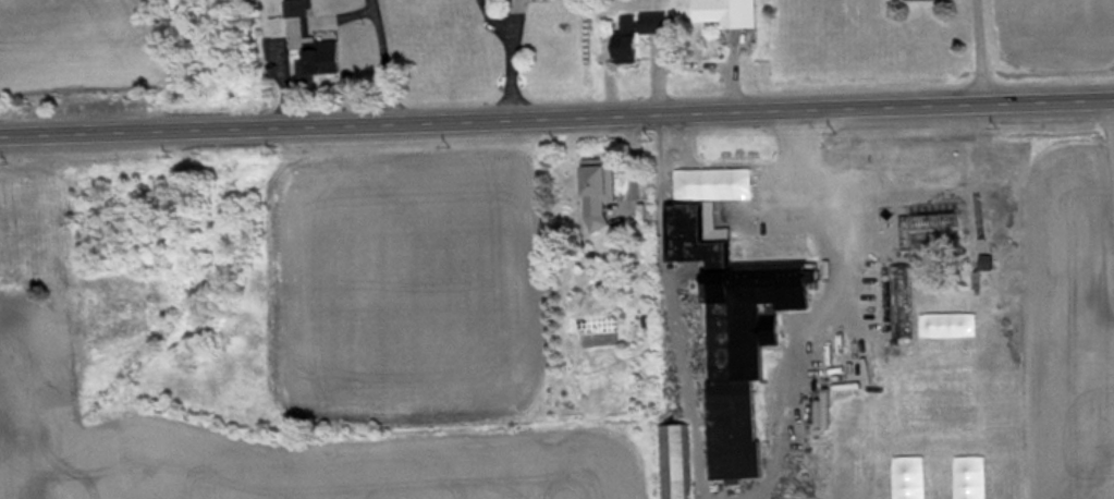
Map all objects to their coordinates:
building: (925, 1)
building: (729, 14)
building: (639, 35)
building: (313, 50)
road: (556, 115)
building: (601, 194)
building: (988, 266)
building: (903, 320)
building: (736, 339)
building: (676, 463)

